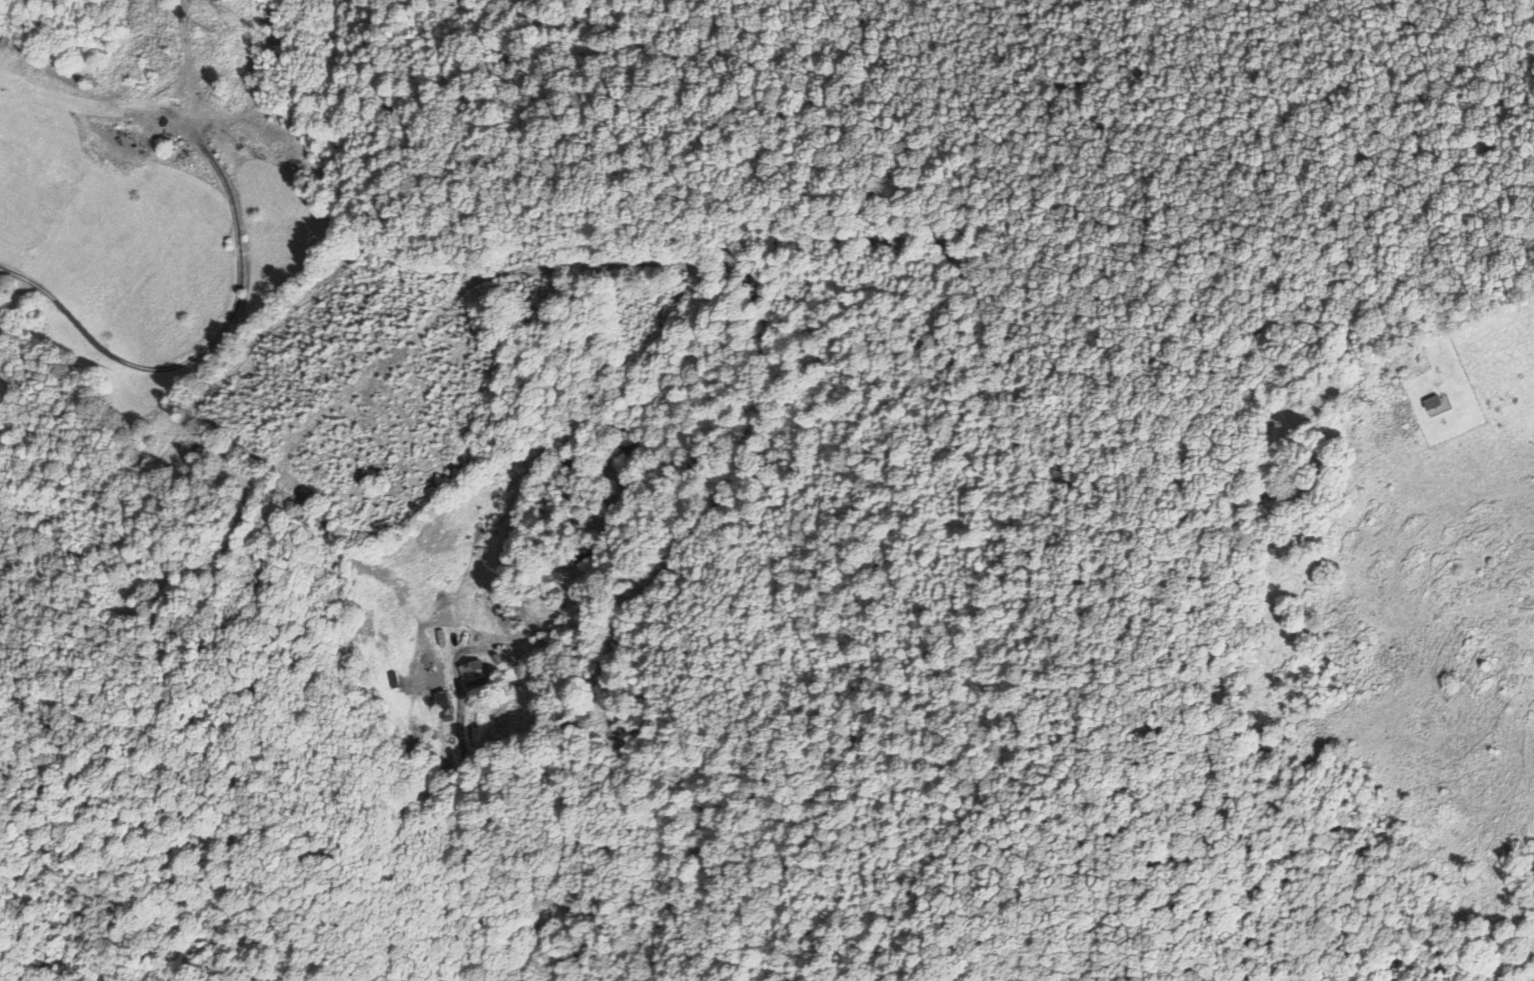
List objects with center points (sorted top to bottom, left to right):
road: (683, 248)
road: (1493, 324)
building: (582, 555)
building: (470, 673)
building: (440, 707)

